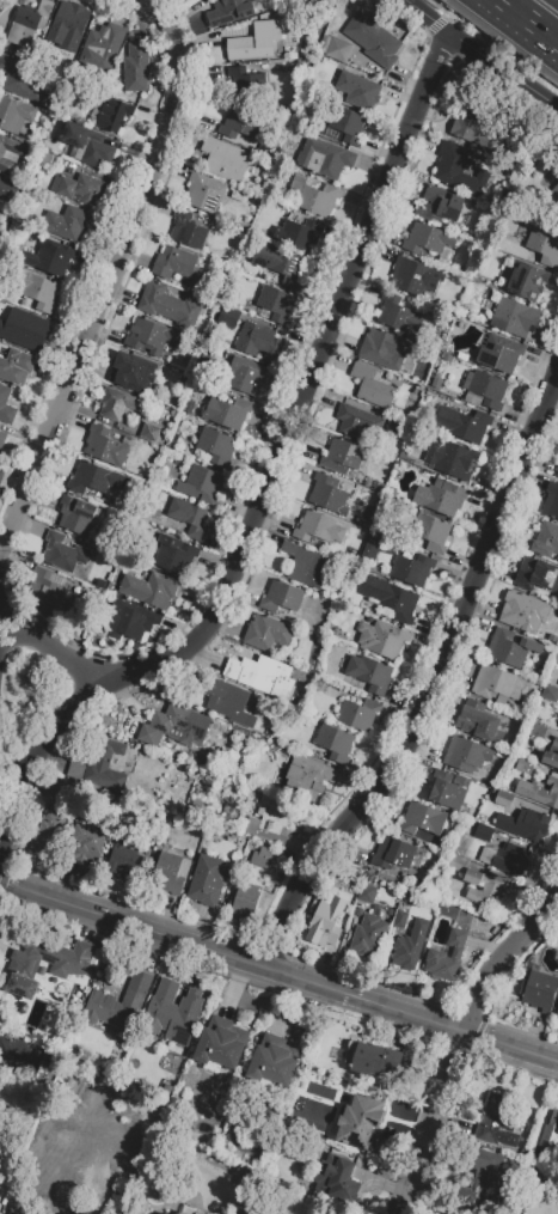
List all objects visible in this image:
building: (231, 11)
road: (447, 12)
road: (421, 17)
road: (527, 22)
building: (27, 23)
building: (68, 25)
building: (374, 39)
building: (253, 41)
building: (338, 49)
building: (103, 50)
building: (135, 67)
road: (501, 72)
building: (18, 79)
building: (238, 81)
building: (363, 92)
building: (14, 114)
building: (114, 115)
building: (240, 123)
building: (347, 124)
building: (478, 132)
building: (87, 145)
building: (10, 154)
building: (325, 157)
building: (48, 159)
building: (225, 159)
building: (459, 169)
building: (295, 181)
building: (80, 188)
building: (7, 189)
building: (204, 191)
building: (554, 195)
building: (319, 199)
building: (439, 205)
building: (69, 222)
building: (188, 231)
building: (300, 233)
building: (424, 238)
building: (544, 246)
building: (51, 260)
building: (173, 262)
building: (281, 263)
road: (108, 273)
building: (415, 276)
building: (526, 280)
building: (38, 291)
building: (165, 303)
building: (276, 304)
building: (397, 313)
building: (227, 316)
building: (514, 317)
building: (20, 330)
building: (149, 336)
building: (258, 342)
building: (384, 348)
building: (499, 353)
building: (16, 366)
building: (131, 372)
building: (246, 378)
building: (372, 386)
building: (484, 391)
building: (6, 405)
building: (122, 407)
building: (227, 411)
building: (357, 421)
building: (462, 423)
building: (398, 427)
building: (151, 432)
building: (1, 438)
building: (216, 445)
building: (104, 446)
building: (342, 456)
building: (449, 458)
road: (270, 471)
building: (1, 472)
building: (557, 474)
building: (97, 480)
building: (201, 484)
building: (327, 494)
building: (443, 498)
building: (551, 502)
building: (76, 514)
building: (189, 517)
building: (362, 521)
building: (318, 529)
building: (430, 532)
building: (545, 539)
building: (63, 551)
building: (173, 555)
building: (302, 563)
building: (412, 569)
building: (536, 574)
building: (45, 588)
building: (149, 588)
building: (281, 596)
building: (392, 598)
building: (523, 611)
building: (130, 624)
building: (266, 633)
building: (382, 640)
road: (51, 646)
building: (510, 647)
building: (556, 655)
building: (262, 670)
building: (369, 673)
building: (496, 682)
road: (435, 684)
building: (548, 693)
building: (228, 702)
building: (357, 714)
building: (479, 721)
building: (172, 724)
building: (557, 726)
building: (538, 728)
building: (335, 742)
building: (554, 742)
building: (466, 754)
building: (550, 758)
building: (100, 764)
building: (523, 765)
building: (307, 774)
building: (446, 789)
building: (539, 792)
building: (66, 794)
building: (503, 799)
building: (422, 818)
building: (270, 819)
building: (532, 825)
building: (483, 832)
building: (50, 836)
building: (88, 846)
building: (393, 853)
building: (259, 856)
building: (122, 859)
building: (511, 860)
building: (456, 864)
building: (167, 874)
building: (472, 876)
building: (207, 880)
building: (485, 891)
building: (366, 892)
building: (245, 901)
building: (400, 919)
building: (325, 920)
building: (368, 934)
building: (410, 945)
building: (446, 956)
building: (69, 966)
road: (278, 970)
building: (539, 988)
building: (118, 1003)
building: (173, 1011)
building: (557, 1013)
building: (221, 1043)
road: (455, 1045)
building: (19, 1053)
building: (372, 1059)
building: (274, 1060)
building: (97, 1094)
building: (499, 1120)
building: (360, 1121)
building: (0, 1128)
building: (550, 1131)
building: (486, 1176)
building: (48, 1177)
building: (338, 1179)
building: (188, 1210)
building: (160, 1212)

